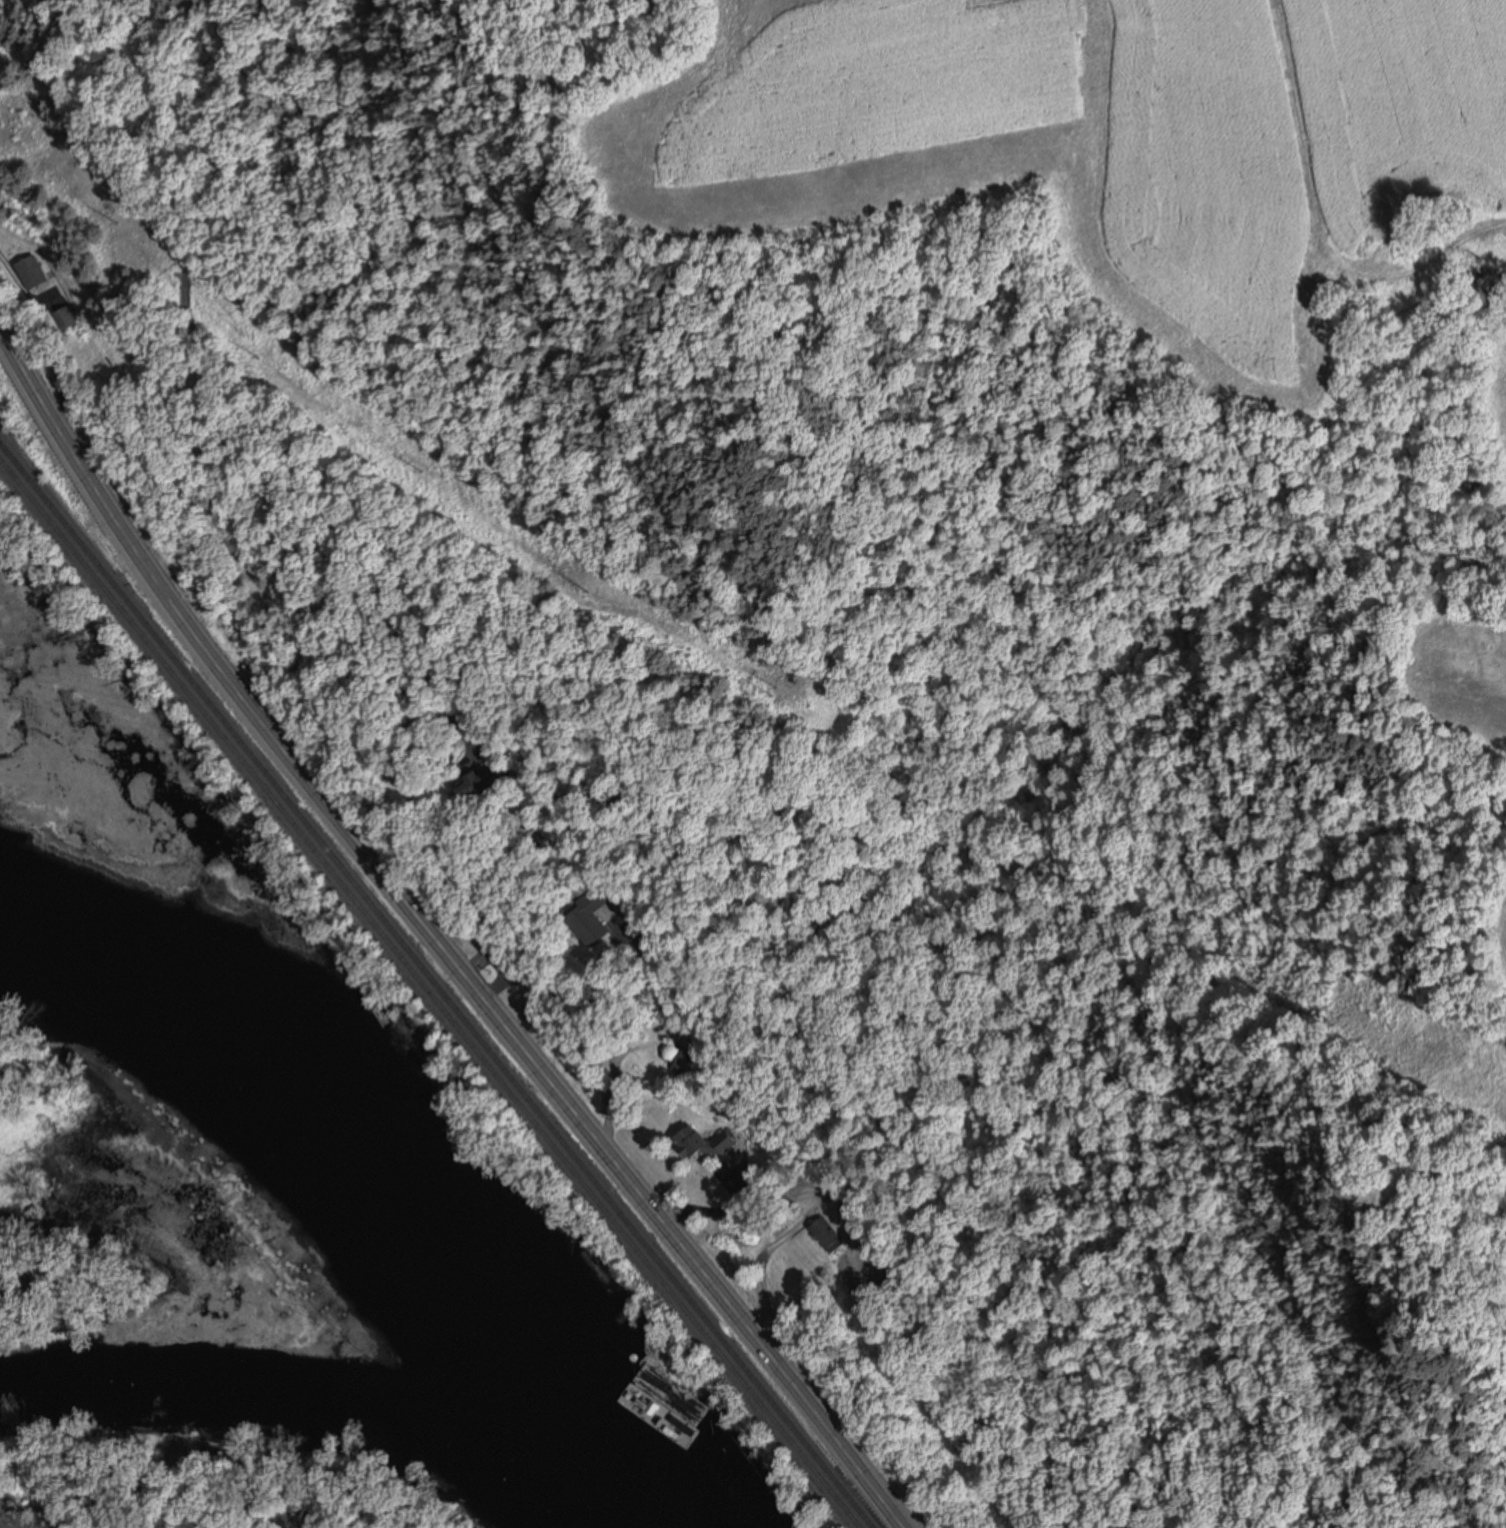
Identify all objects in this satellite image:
road: (136, 560)
power tower: (781, 688)
road: (422, 817)
road: (505, 971)
railway: (437, 984)
railway: (431, 992)
road: (611, 999)
road: (611, 1147)

